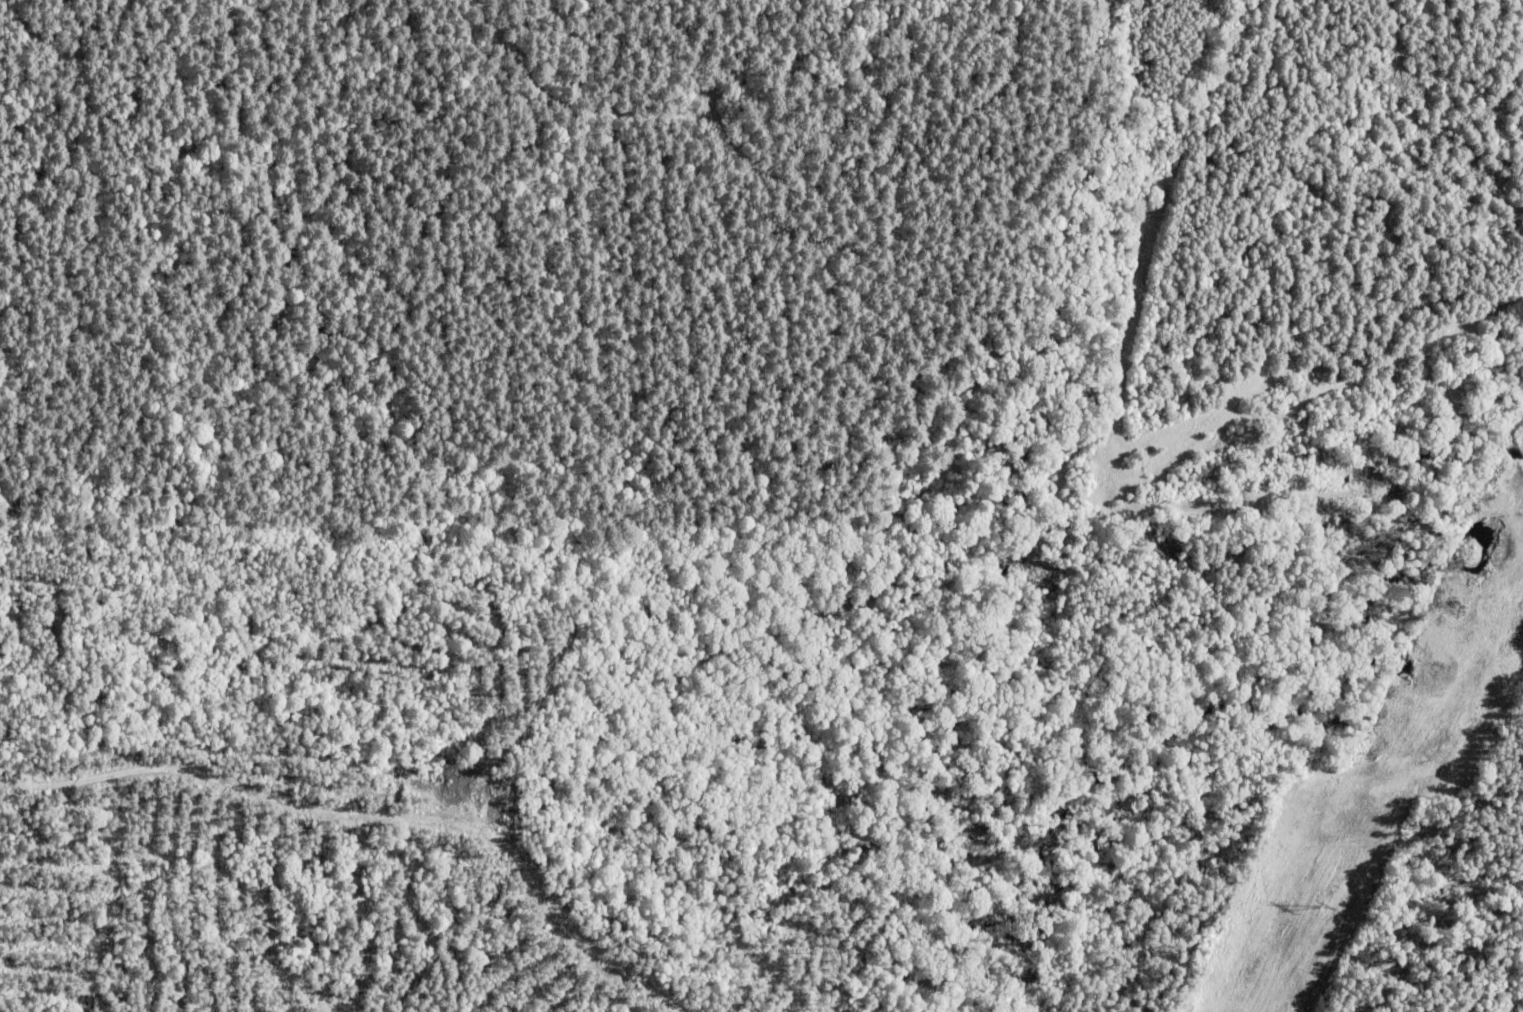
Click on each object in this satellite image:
power tower: (1321, 905)

